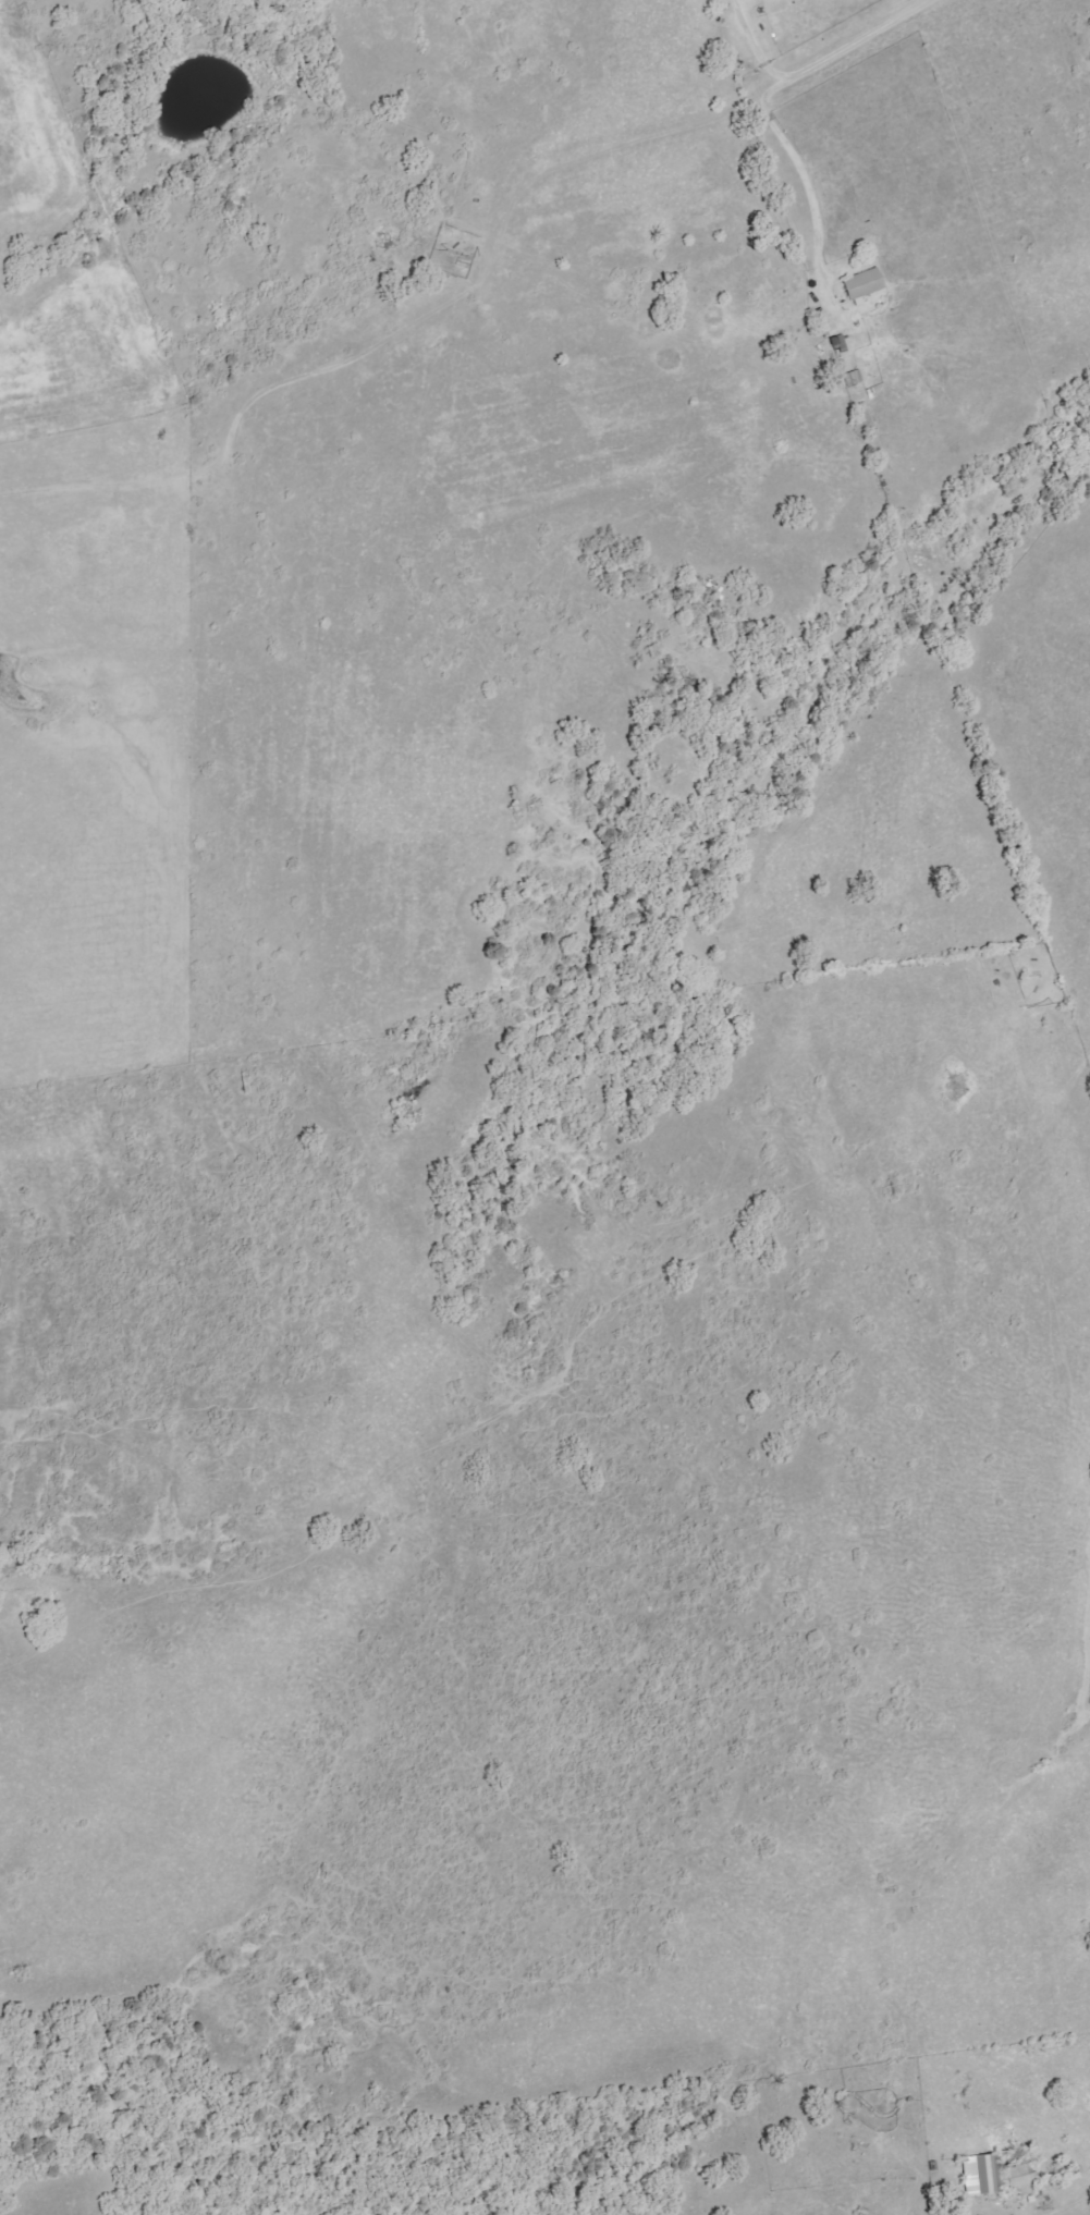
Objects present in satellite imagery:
road: (751, 46)
road: (847, 46)
road: (808, 187)
building: (860, 284)
building: (980, 2174)
building: (1020, 2178)

